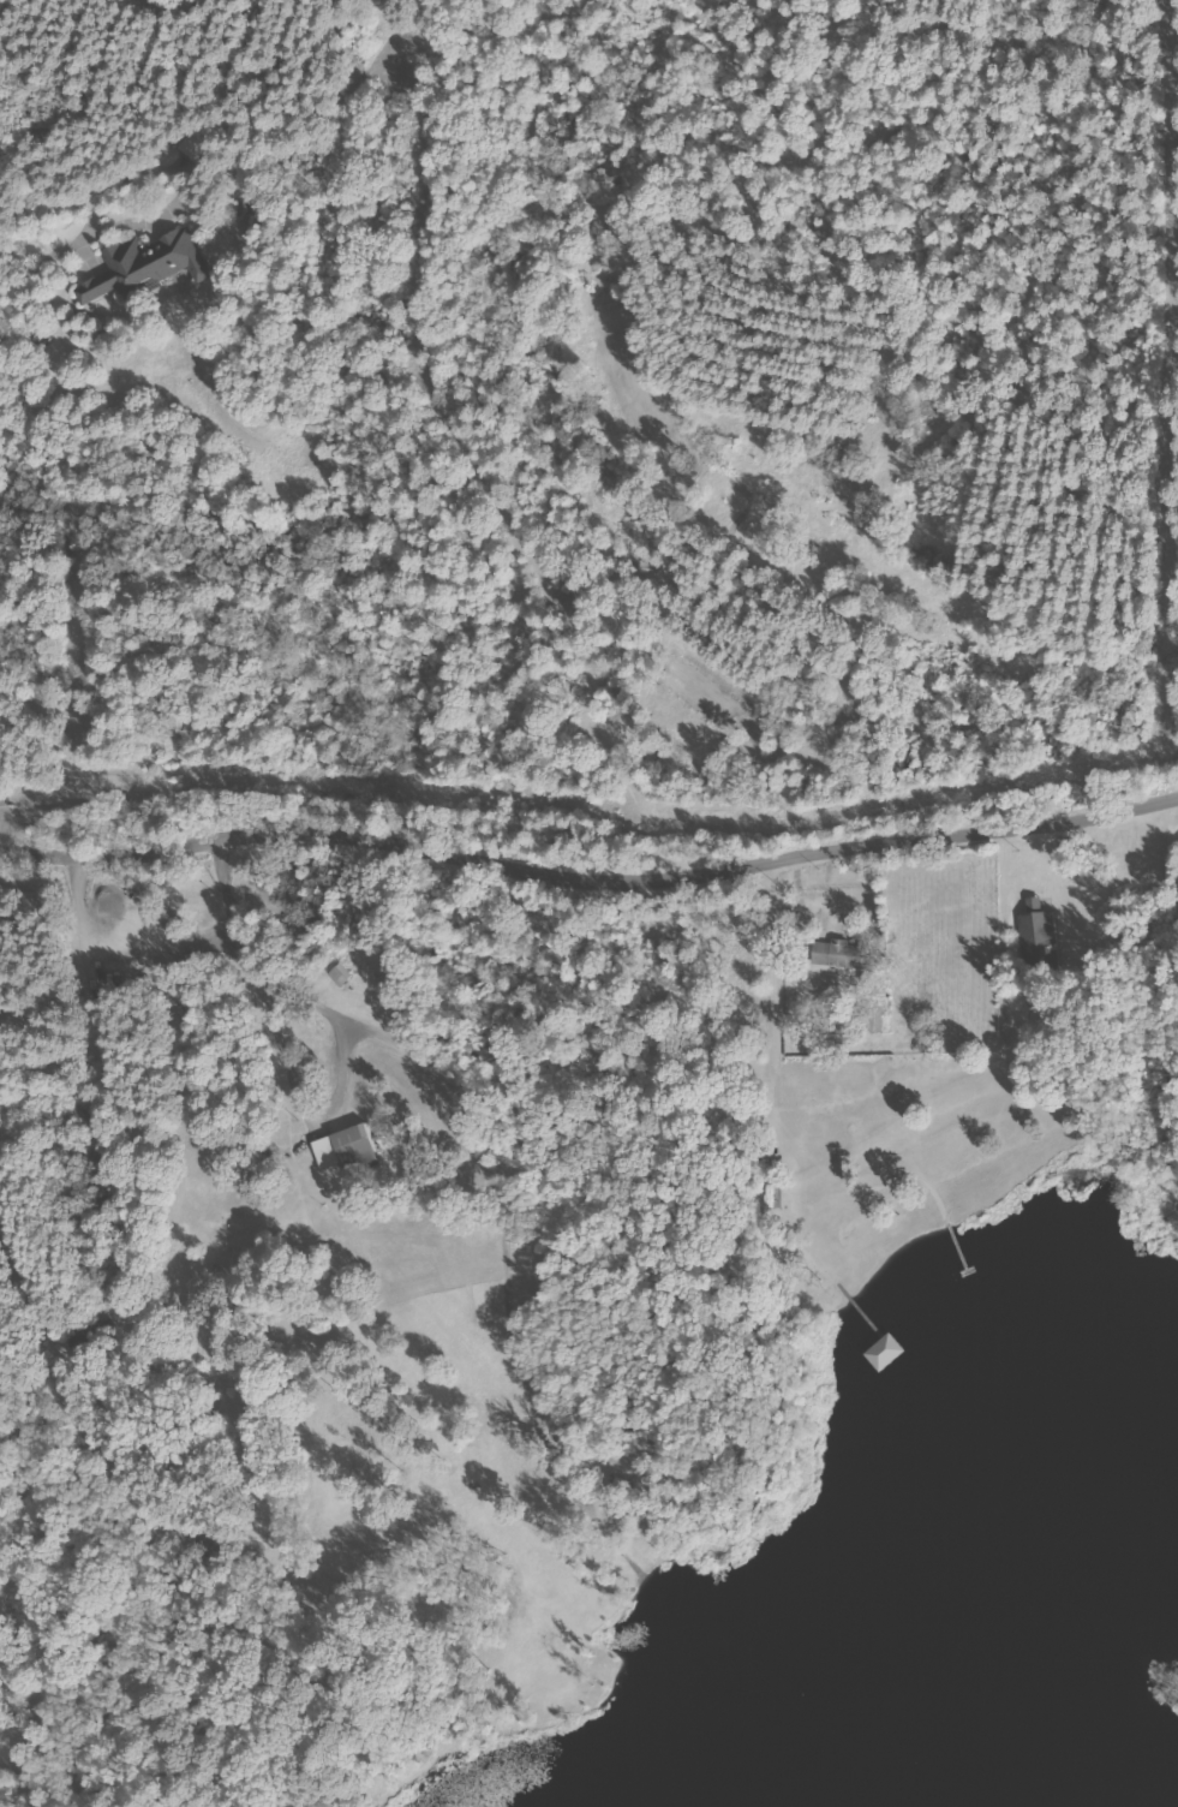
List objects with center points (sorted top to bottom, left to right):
building: (243, 204)
building: (149, 267)
road: (35, 279)
road: (2, 825)
road: (590, 879)
building: (1038, 941)
building: (841, 955)
building: (351, 1151)
building: (887, 1354)
building: (616, 1491)

